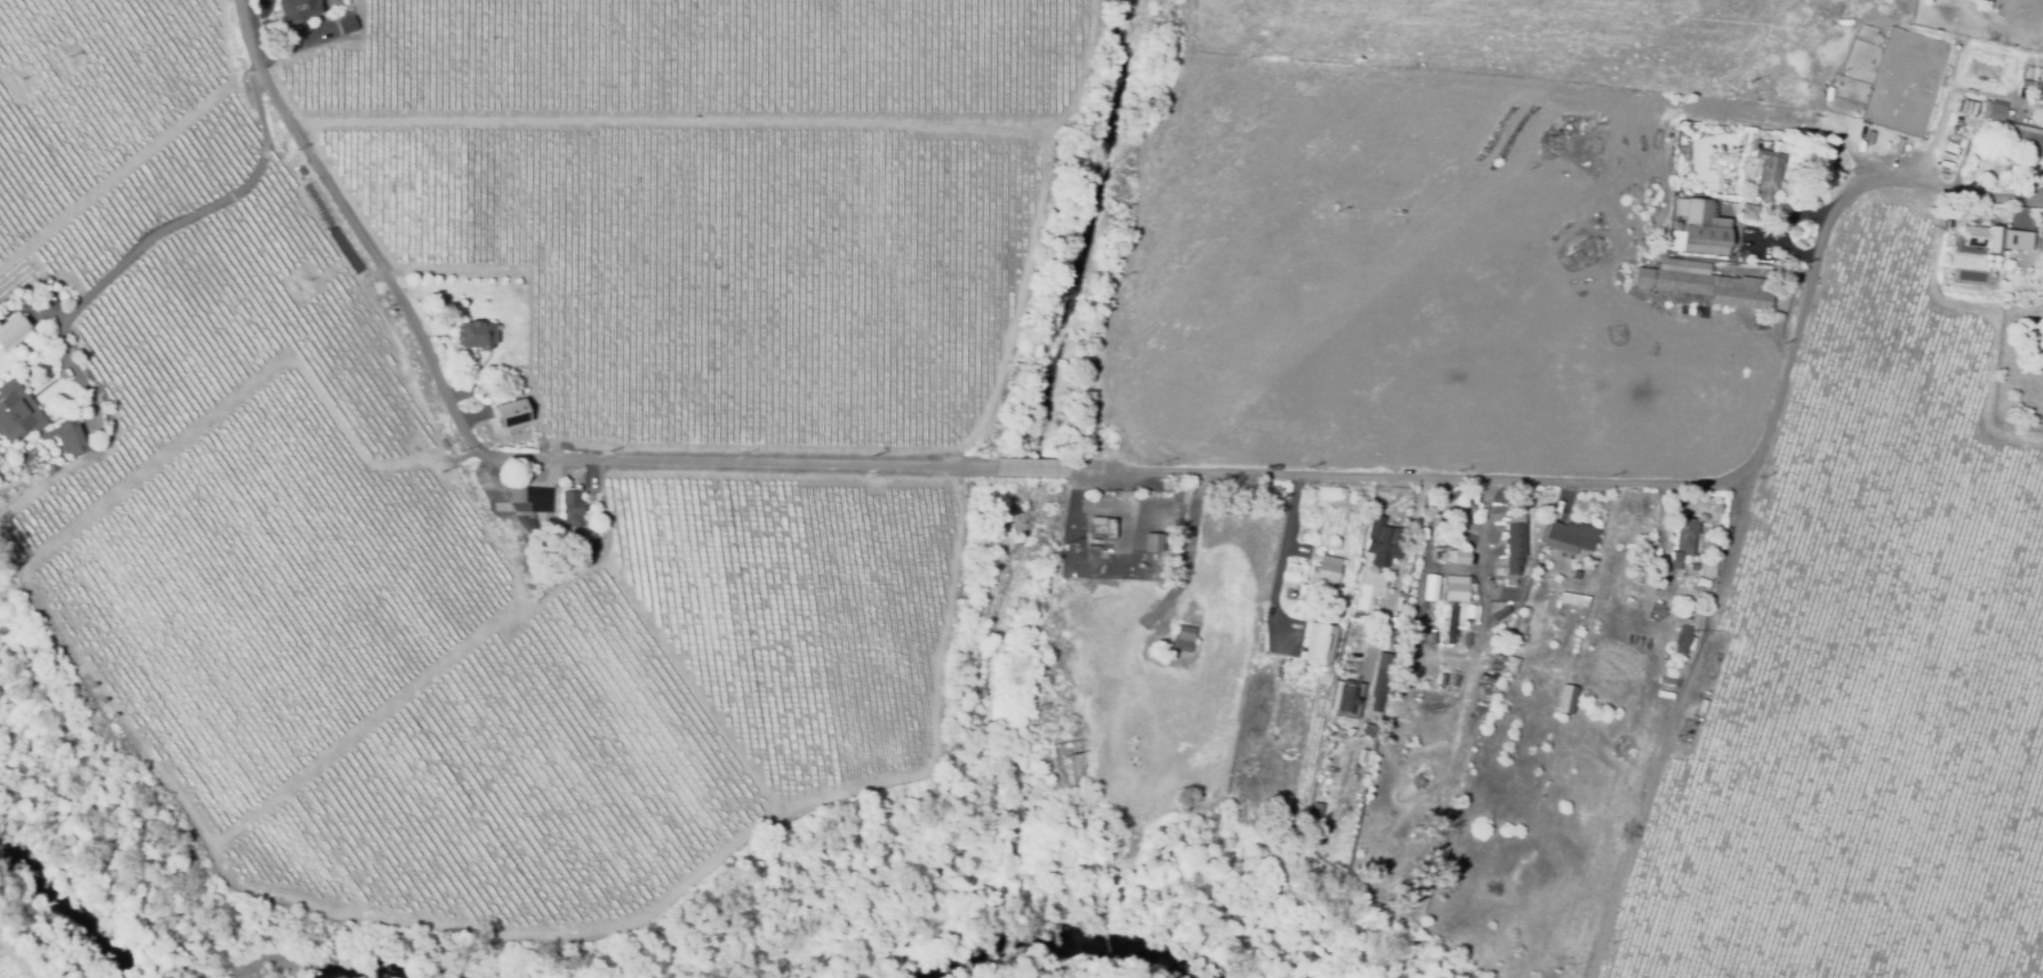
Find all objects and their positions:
building: (296, 10)
building: (346, 24)
building: (1961, 105)
building: (1967, 106)
building: (1972, 107)
building: (1993, 111)
building: (2023, 141)
building: (1768, 174)
building: (1748, 214)
building: (1675, 226)
building: (1701, 229)
road: (151, 236)
building: (1999, 237)
road: (1818, 242)
building: (1574, 259)
building: (1701, 285)
building: (1760, 325)
building: (13, 329)
building: (475, 336)
building: (482, 390)
building: (17, 413)
building: (510, 413)
building: (73, 436)
road: (853, 469)
building: (569, 507)
building: (1102, 527)
building: (1663, 536)
building: (1570, 538)
building: (1382, 541)
building: (1682, 542)
building: (1152, 543)
building: (1513, 544)
building: (1459, 557)
building: (527, 565)
building: (1692, 567)
building: (1705, 568)
building: (1324, 571)
road: (1720, 577)
road: (1399, 579)
building: (1701, 583)
building: (1302, 588)
building: (1430, 588)
building: (1456, 590)
building: (1572, 599)
building: (1469, 607)
building: (1657, 611)
building: (1501, 612)
building: (1525, 615)
building: (1451, 626)
building: (1183, 639)
building: (1681, 641)
building: (1317, 643)
building: (1383, 643)
road: (1454, 655)
building: (1380, 662)
building: (1494, 663)
building: (1514, 665)
building: (1382, 678)
building: (1343, 697)
building: (1566, 701)
building: (1368, 729)
building: (1314, 812)
building: (1311, 840)

